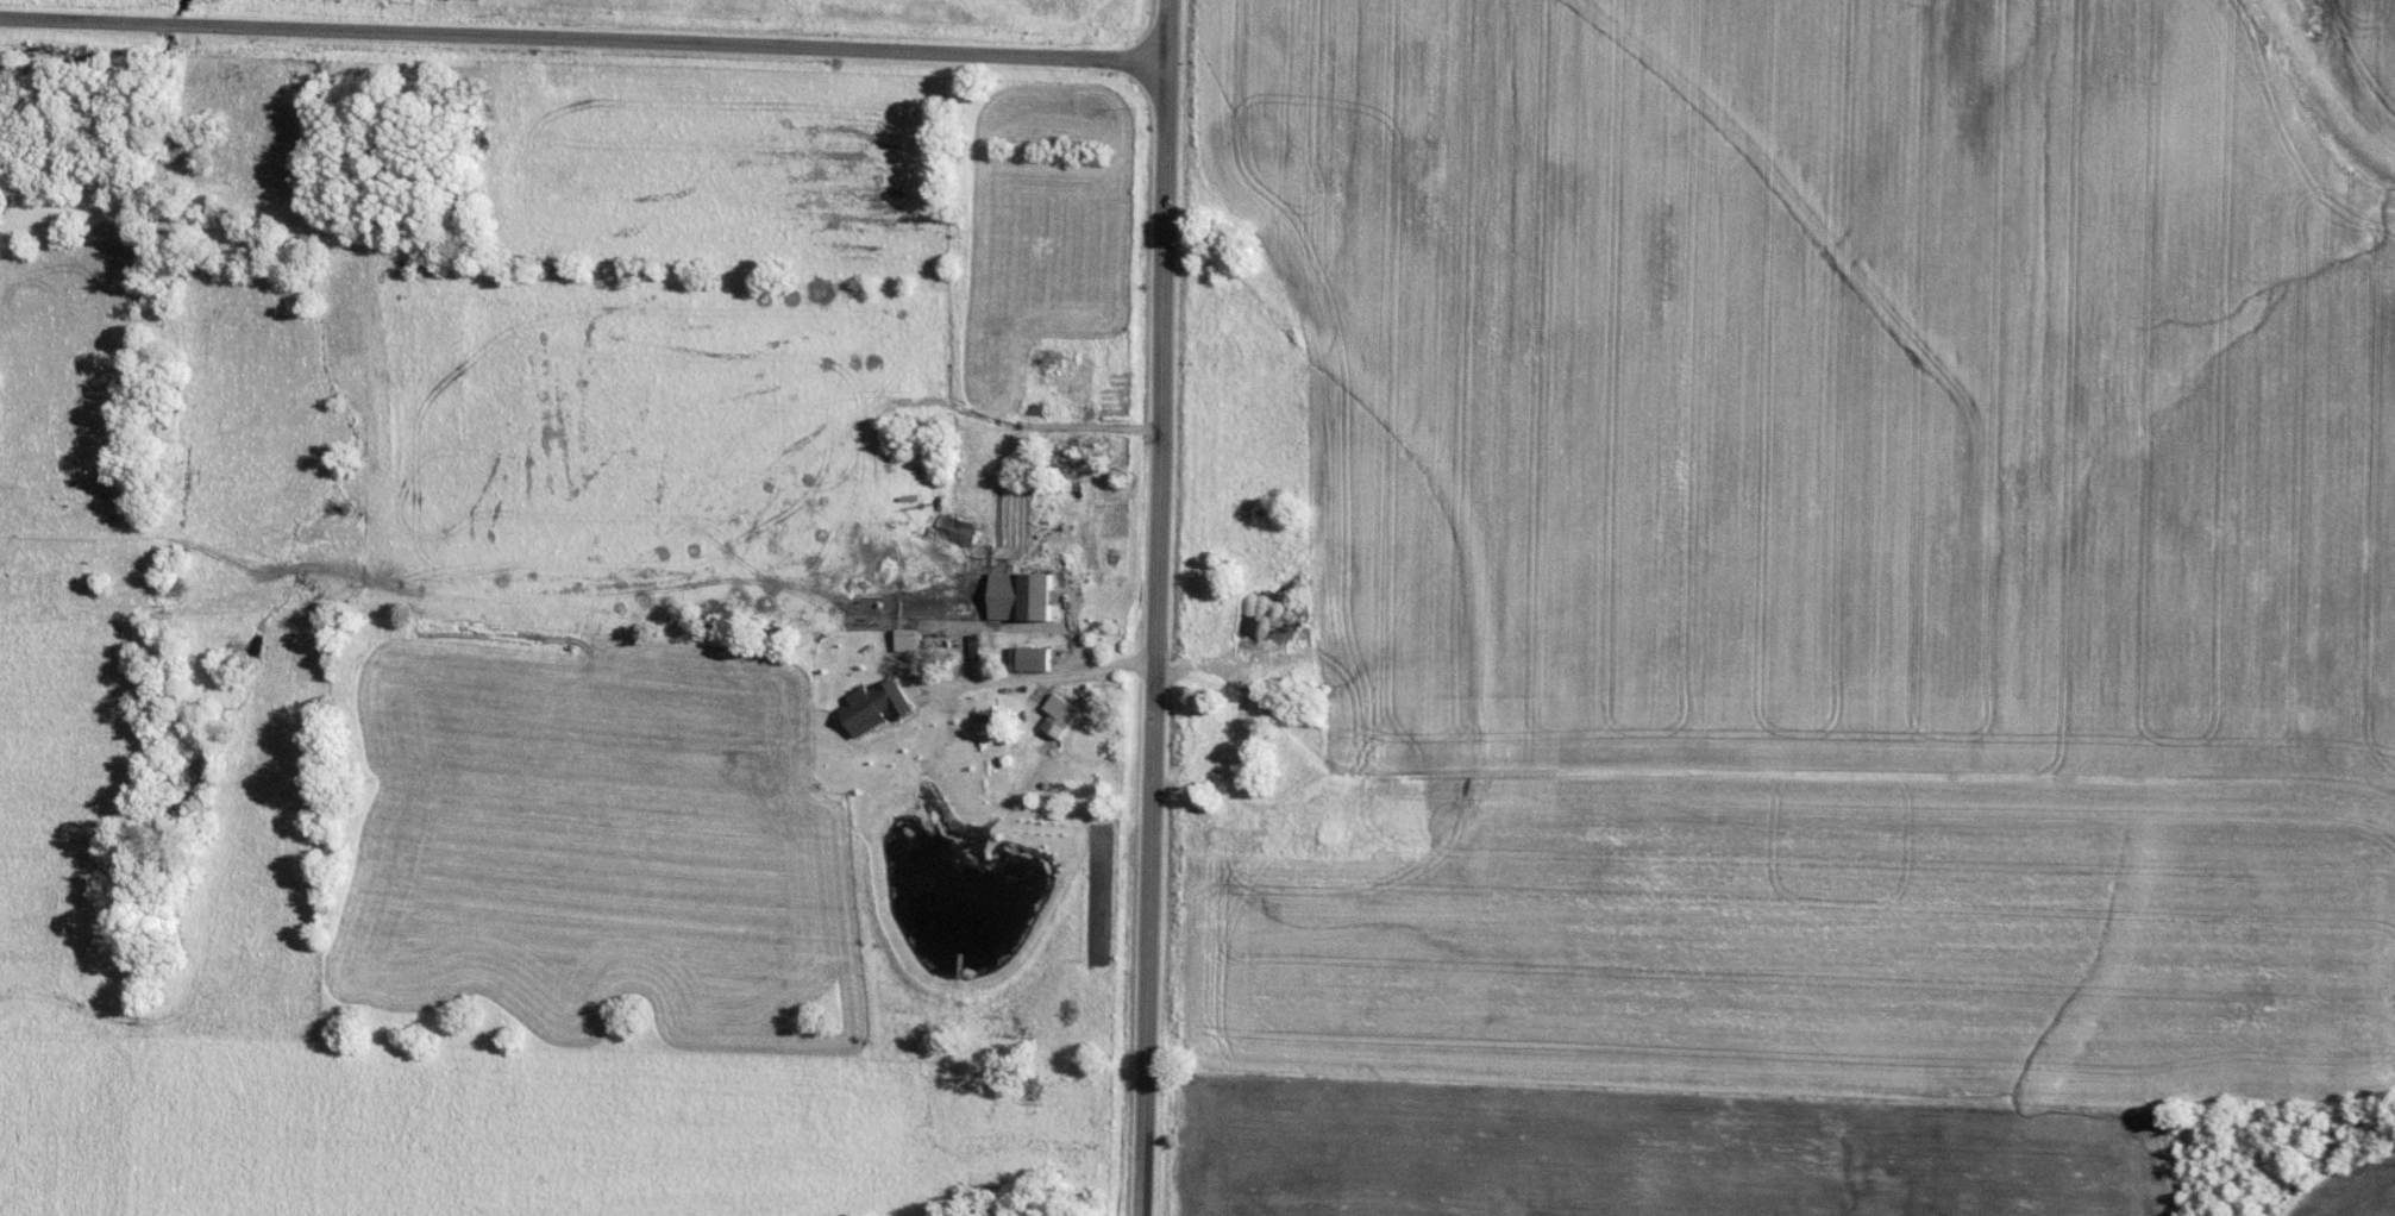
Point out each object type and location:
road: (583, 38)
road: (1046, 425)
building: (1024, 594)
road: (1155, 608)
building: (909, 637)
building: (976, 644)
building: (1033, 656)
building: (878, 704)
building: (1061, 713)

